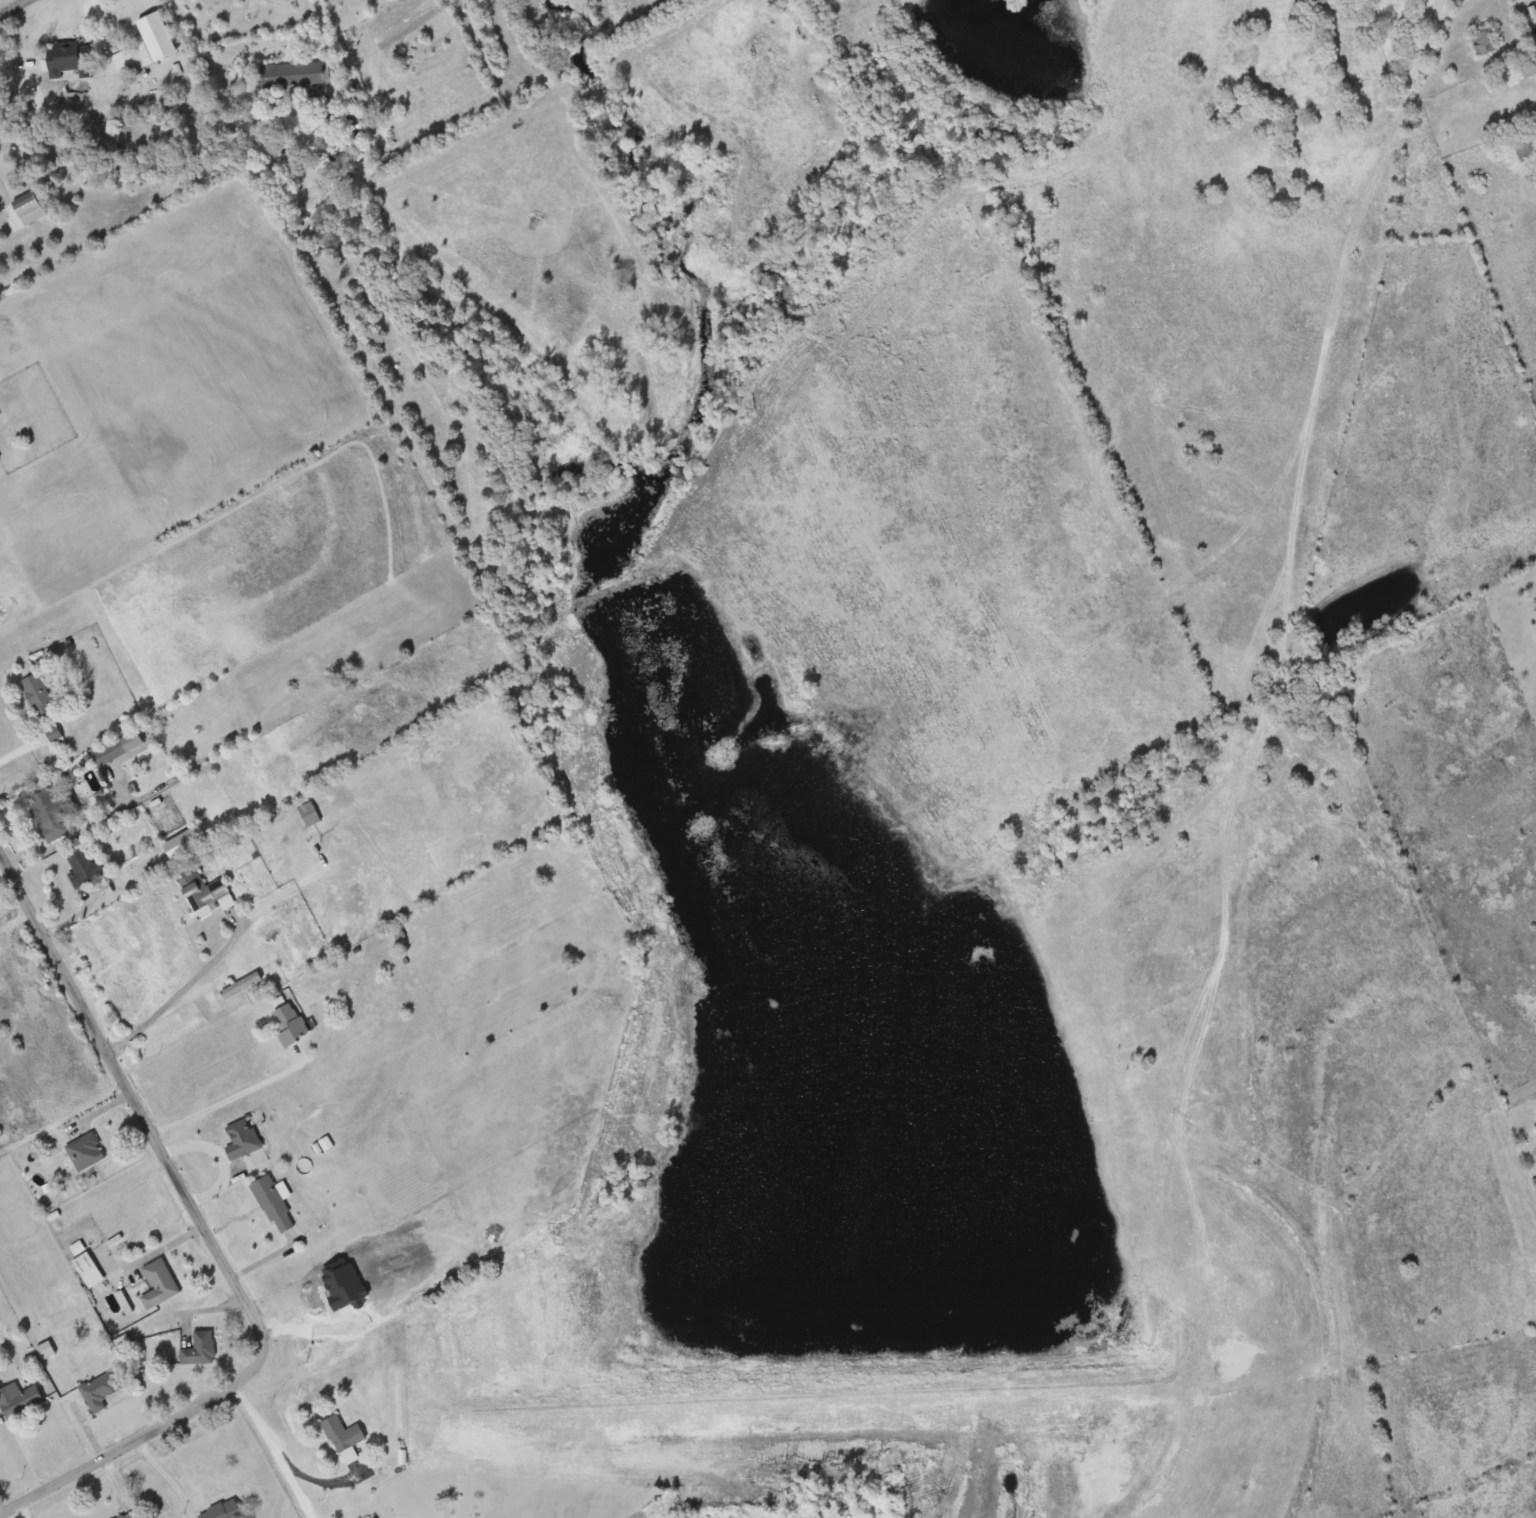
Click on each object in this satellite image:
building: (1331, 0)
road: (16, 9)
building: (1485, 42)
building: (72, 59)
building: (135, 59)
building: (1529, 67)
building: (289, 76)
building: (343, 120)
building: (1523, 141)
building: (30, 208)
building: (38, 694)
building: (119, 748)
building: (52, 804)
building: (310, 813)
building: (82, 867)
building: (206, 893)
building: (242, 985)
building: (292, 1024)
road: (146, 1123)
building: (243, 1138)
building: (86, 1151)
building: (274, 1203)
building: (89, 1269)
building: (159, 1284)
building: (200, 1348)
building: (99, 1391)
building: (20, 1399)
building: (343, 1433)
road: (116, 1452)
road: (272, 1453)
building: (224, 1510)
building: (130, 1514)

